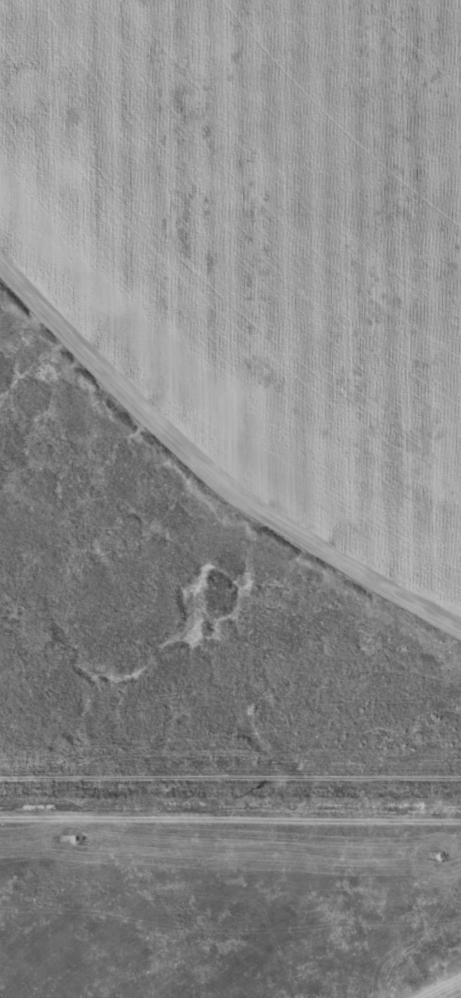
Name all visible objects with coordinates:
road: (230, 759)

